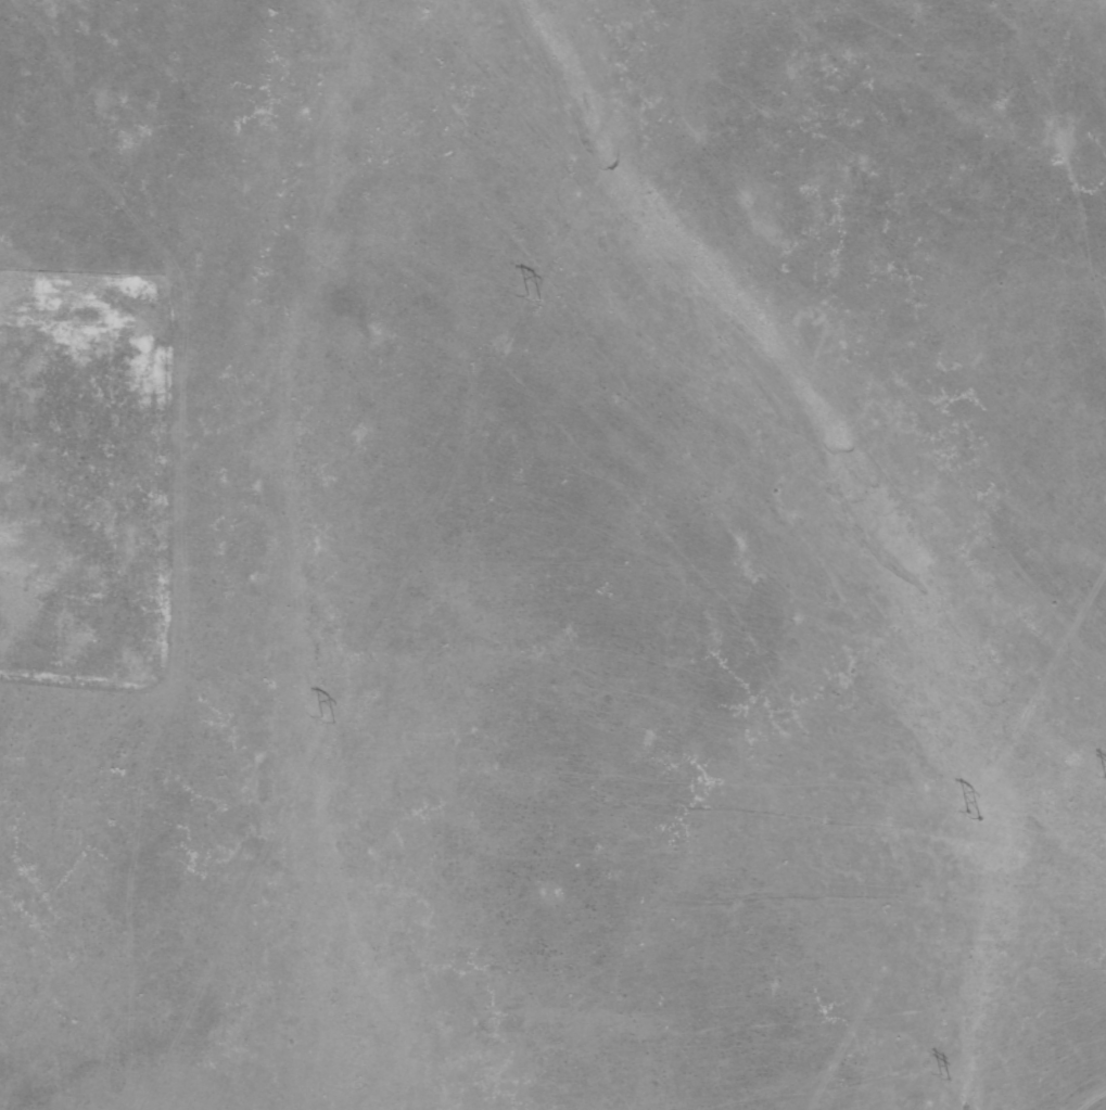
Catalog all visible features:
road: (831, 258)
power tower: (537, 299)
power tower: (328, 717)
power tower: (975, 815)
power tower: (948, 1081)

